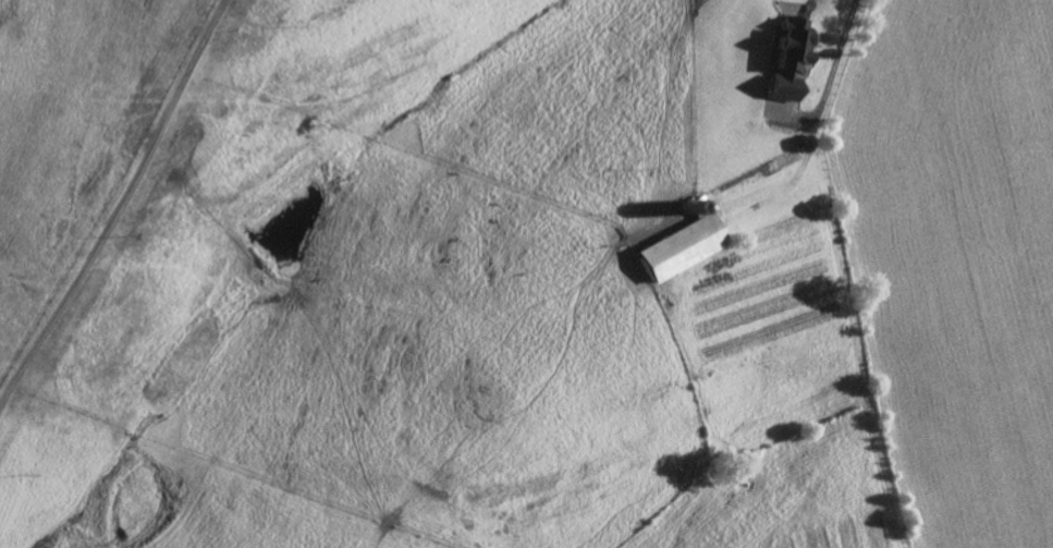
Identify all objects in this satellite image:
road: (843, 27)
building: (786, 58)
road: (117, 205)
building: (678, 244)

